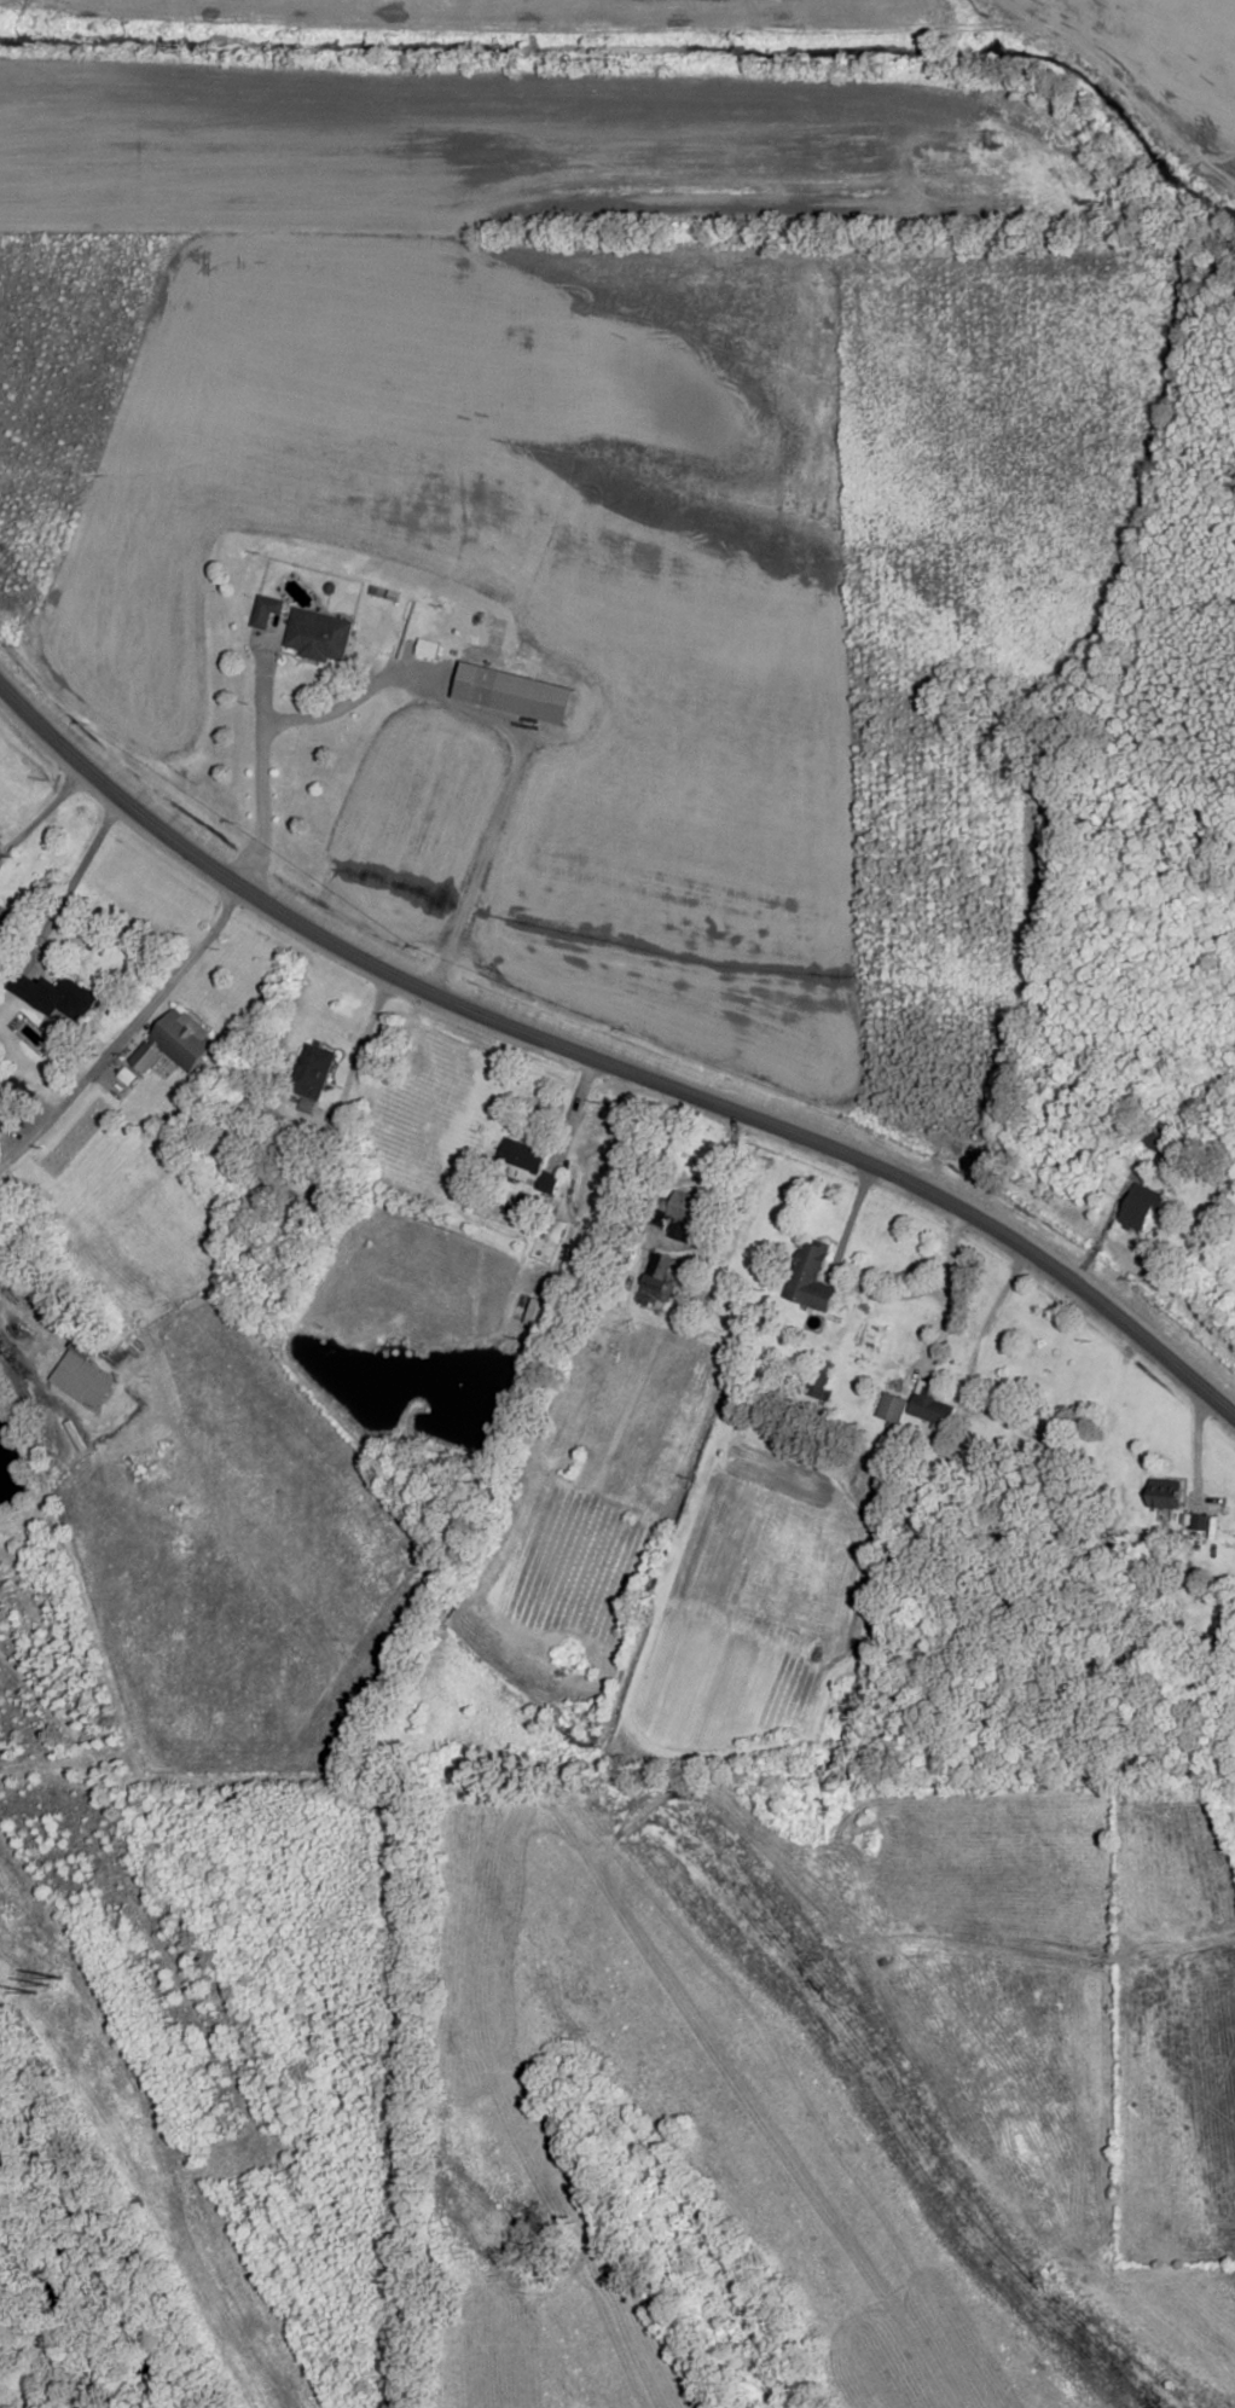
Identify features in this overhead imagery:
building: (267, 610)
building: (320, 634)
road: (393, 678)
building: (516, 691)
road: (261, 767)
road: (40, 810)
road: (73, 874)
building: (4, 917)
building: (53, 994)
building: (175, 1041)
road: (607, 1066)
building: (313, 1070)
building: (4, 1116)
building: (1147, 1138)
building: (529, 1165)
building: (1143, 1203)
building: (677, 1211)
building: (659, 1273)
building: (811, 1276)
building: (76, 1354)
building: (930, 1404)
building: (892, 1406)
building: (1031, 1427)
building: (1166, 1493)
building: (1220, 1641)
building: (821, 1808)

